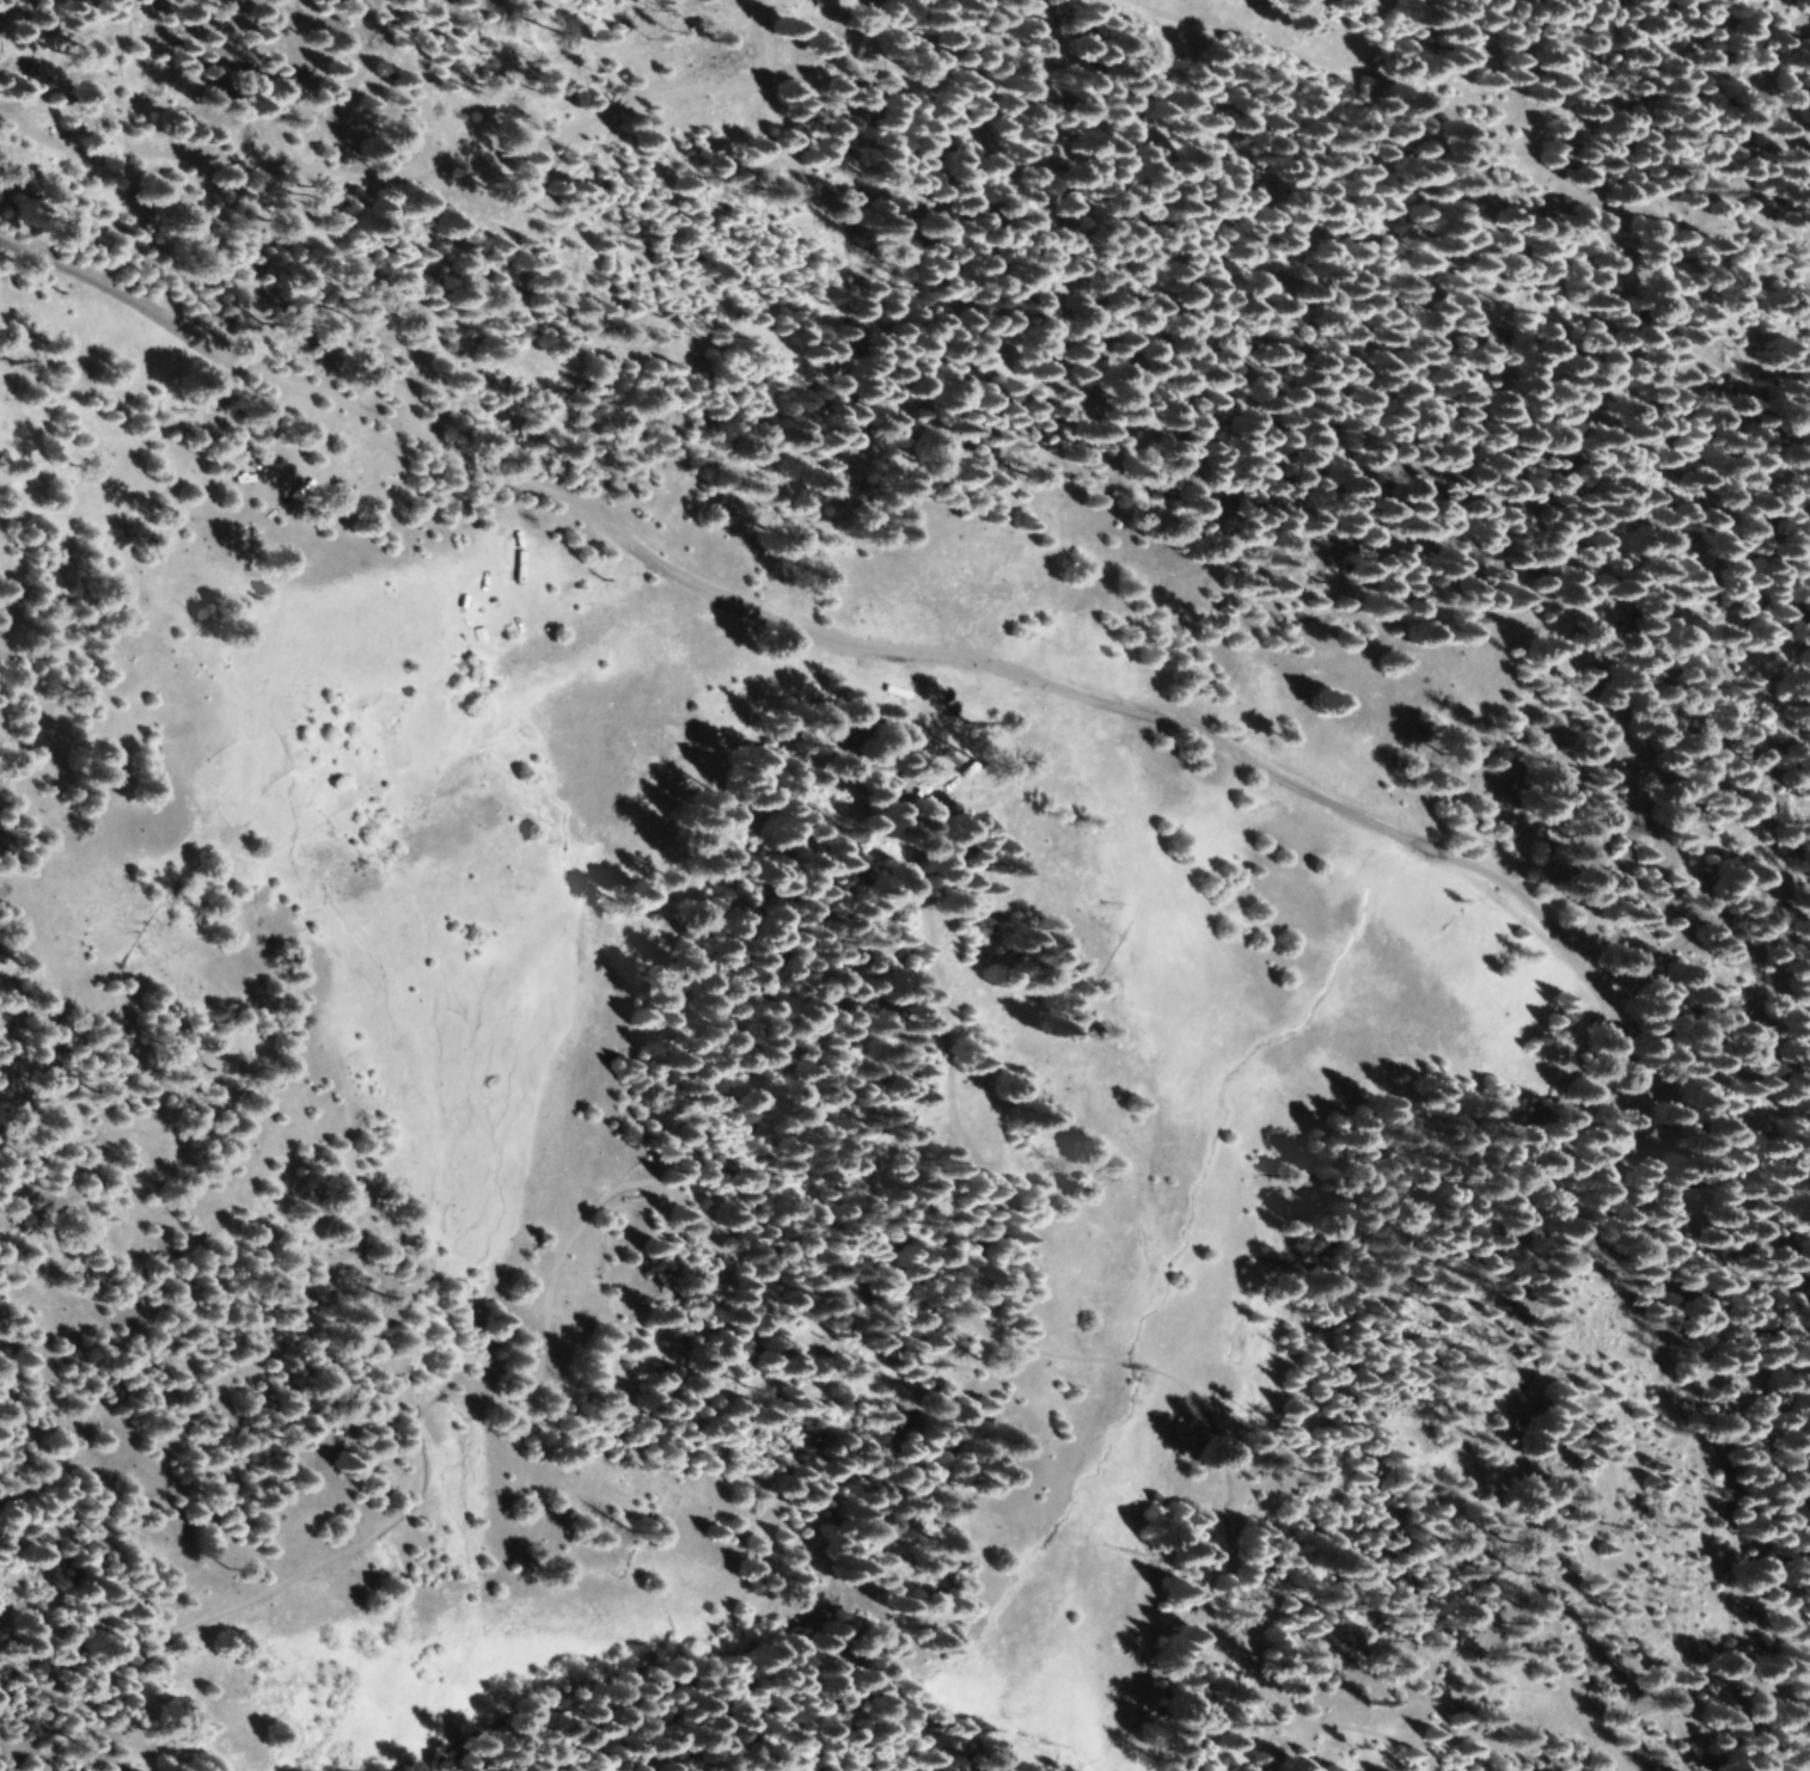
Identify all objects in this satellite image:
road: (441, 164)
road: (1652, 259)
road: (1229, 706)
road: (1700, 905)
road: (738, 1257)

